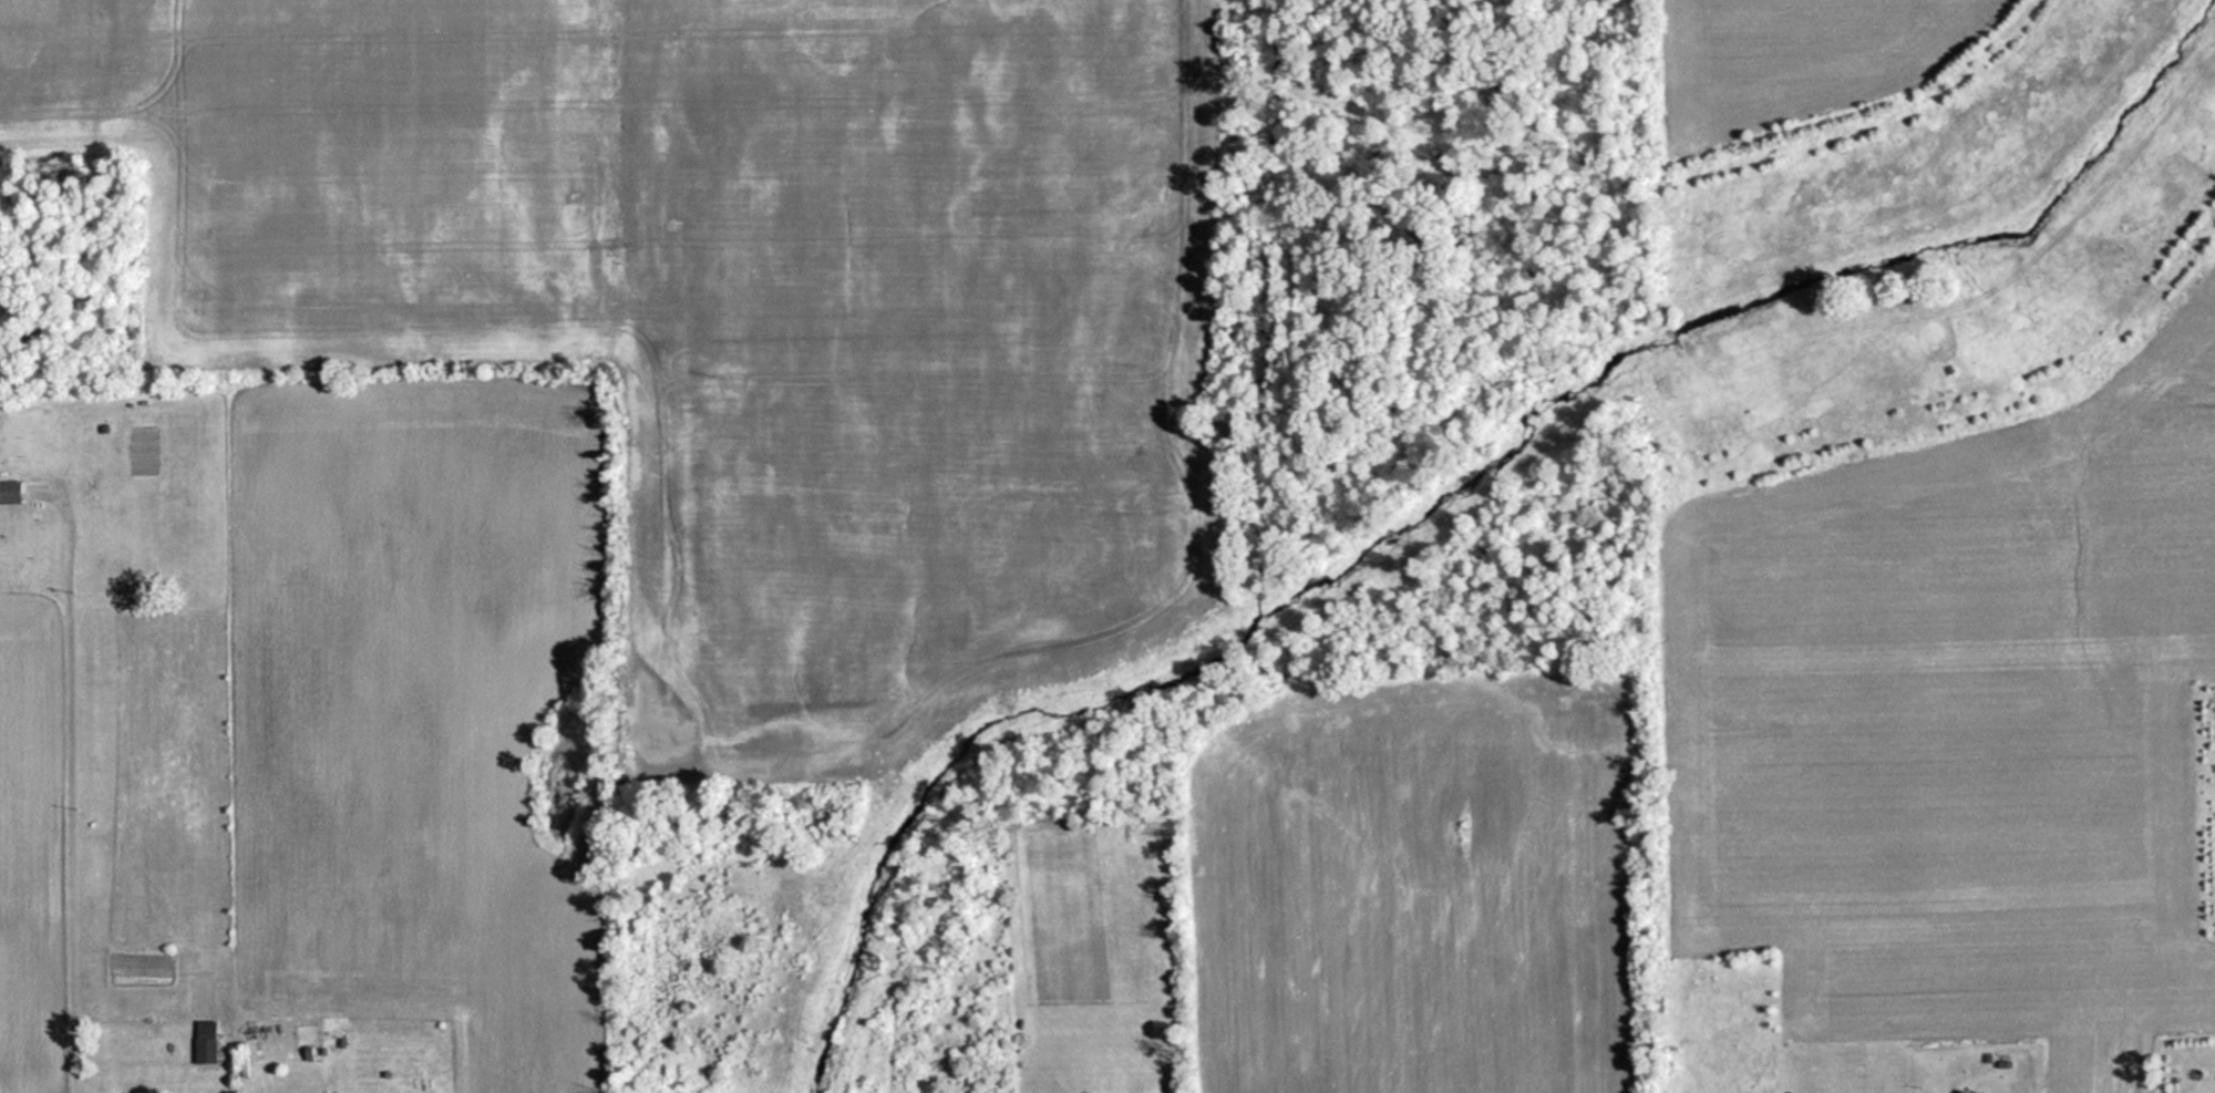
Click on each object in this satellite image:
building: (14, 493)
building: (212, 1041)
building: (1958, 1091)

